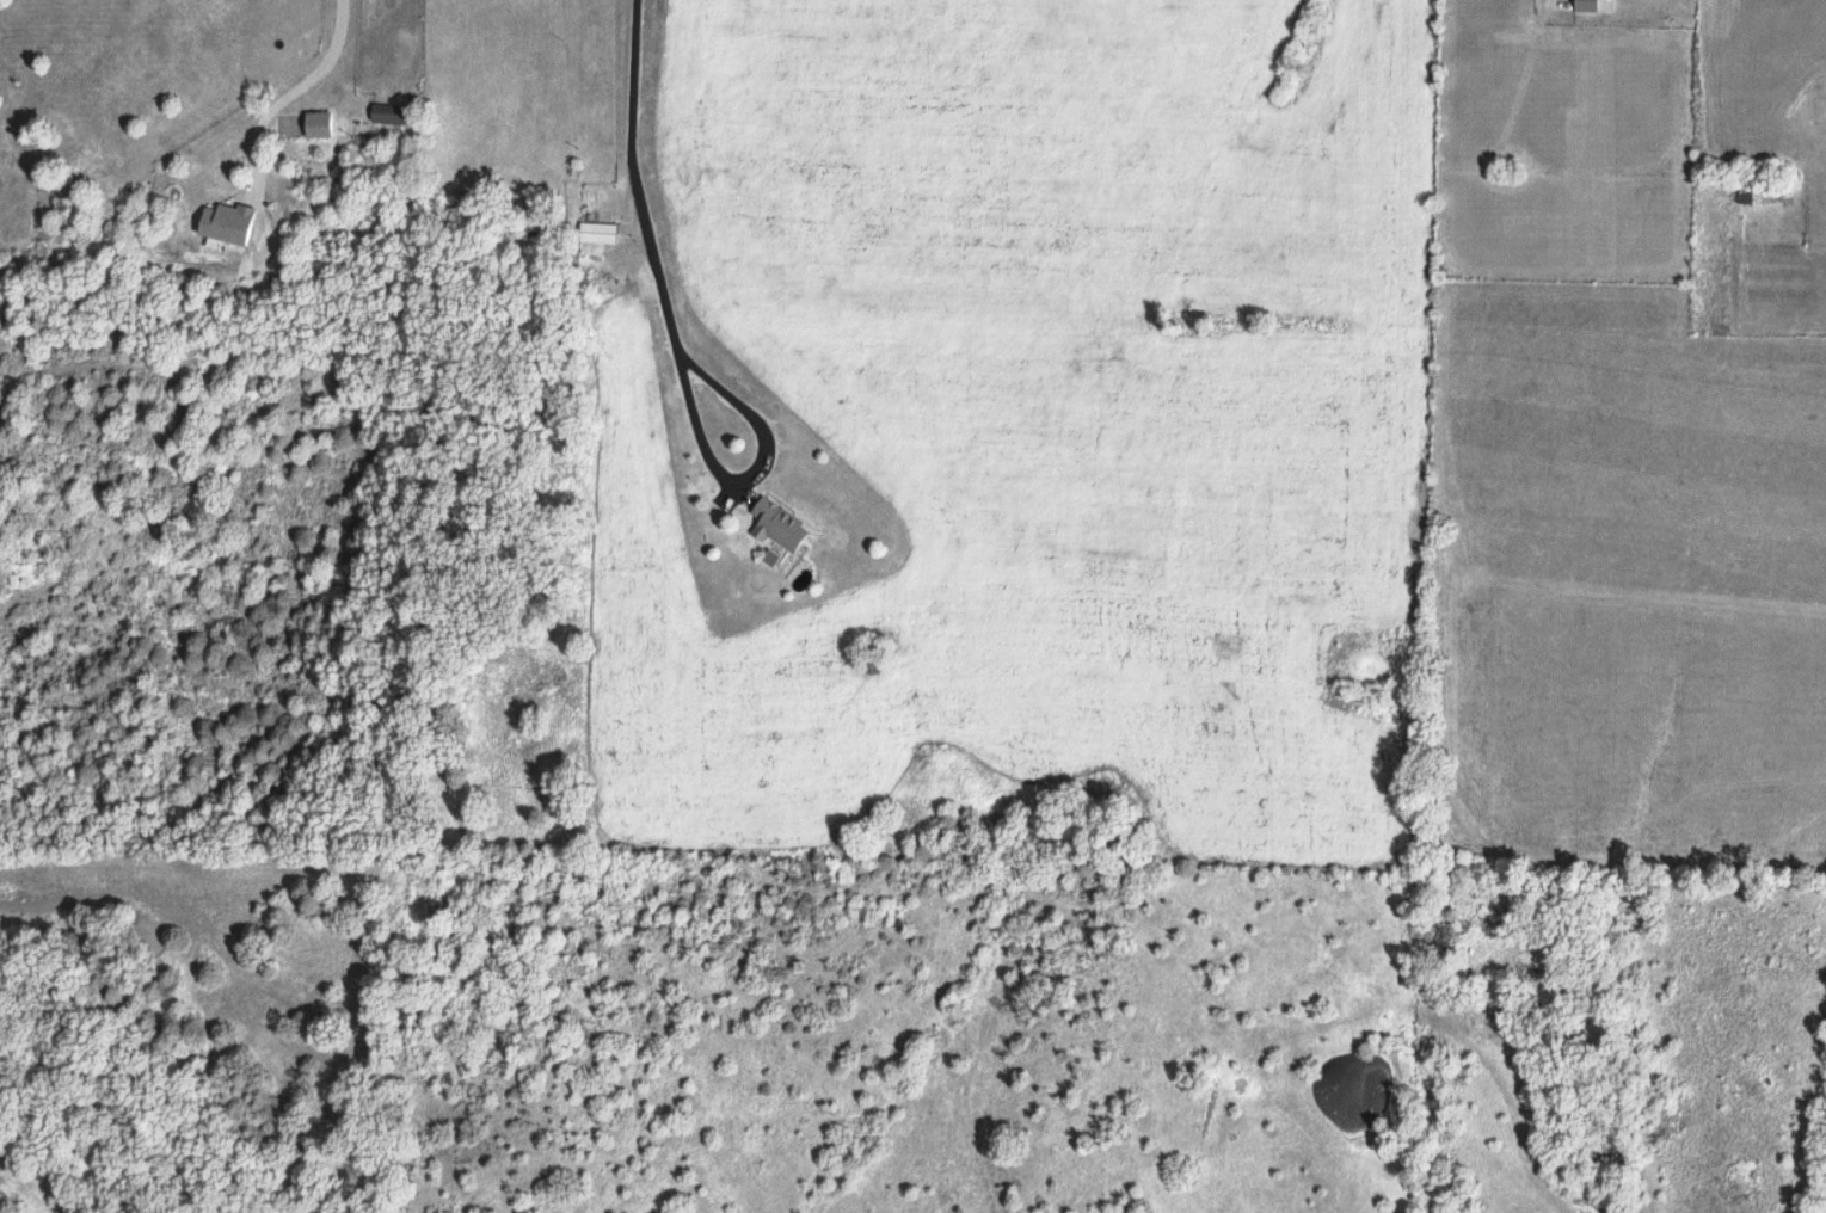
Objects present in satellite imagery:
building: (1582, 5)
road: (296, 84)
building: (385, 111)
building: (315, 123)
road: (634, 180)
building: (222, 221)
building: (595, 230)
road: (1437, 451)
road: (711, 457)
building: (775, 524)

